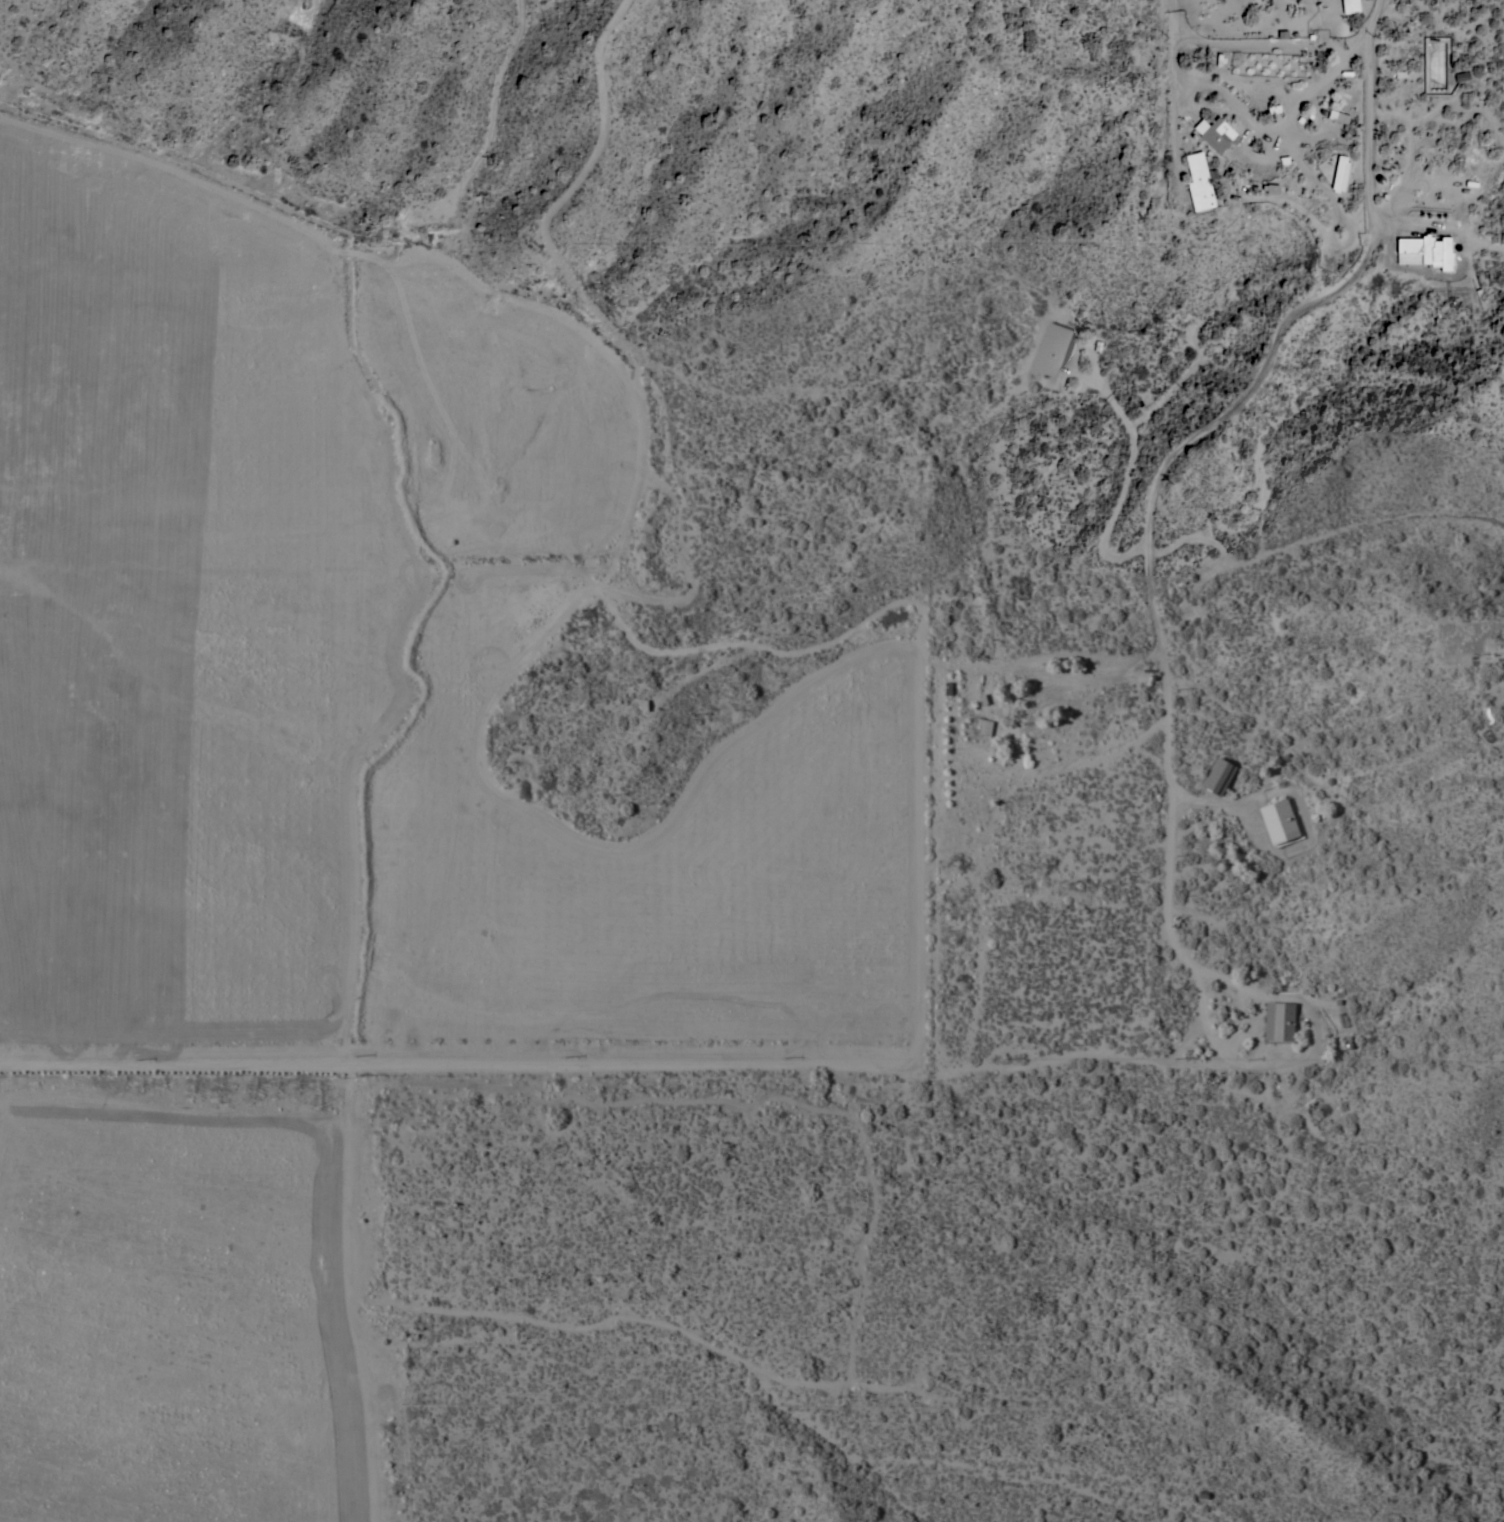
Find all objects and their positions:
building: (1351, 6)
building: (1462, 75)
road: (1305, 96)
building: (1338, 117)
building: (1219, 136)
building: (1340, 174)
building: (1201, 180)
building: (1430, 250)
building: (1051, 350)
road: (1160, 474)
road: (1126, 477)
building: (1494, 647)
building: (983, 701)
building: (983, 726)
road: (795, 729)
road: (1066, 740)
building: (1219, 776)
crop: (328, 812)
building: (1279, 822)
building: (1280, 1022)
road: (775, 1447)

